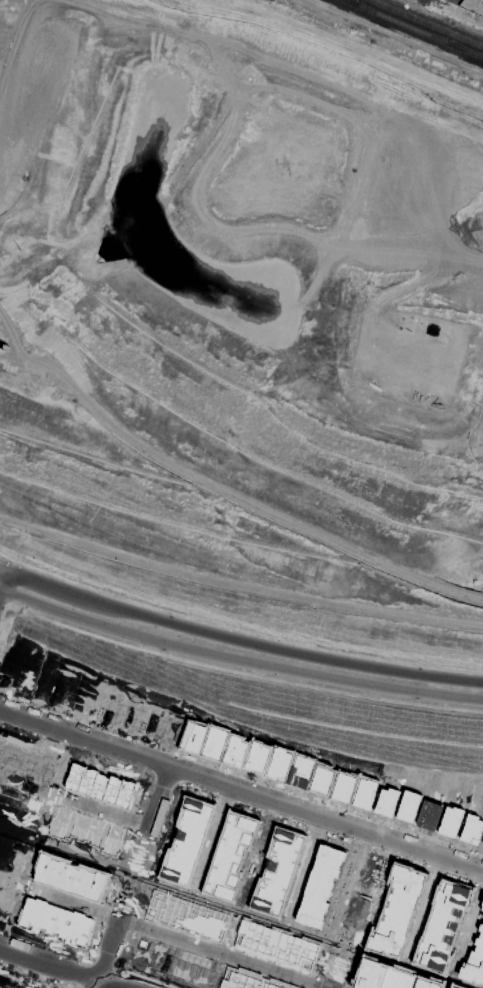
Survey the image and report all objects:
railway: (397, 21)
railway: (427, 23)
railway: (466, 49)
railway: (466, 50)
road: (354, 125)
road: (206, 165)
road: (21, 353)
road: (231, 495)
road: (2, 574)
road: (17, 584)
road: (249, 586)
road: (65, 598)
road: (4, 614)
road: (240, 638)
road: (238, 657)
road: (243, 672)
building: (22, 677)
building: (45, 685)
building: (66, 693)
building: (87, 699)
building: (108, 706)
building: (128, 715)
building: (150, 720)
building: (171, 728)
building: (193, 736)
building: (215, 742)
road: (74, 749)
building: (234, 750)
building: (256, 756)
road: (154, 759)
building: (25, 761)
building: (278, 763)
road: (184, 770)
road: (186, 771)
building: (300, 771)
road: (241, 773)
road: (165, 776)
building: (321, 778)
road: (20, 782)
road: (54, 785)
building: (99, 785)
building: (343, 787)
building: (364, 793)
road: (159, 795)
building: (386, 801)
building: (407, 805)
building: (19, 807)
road: (106, 810)
building: (428, 814)
road: (135, 819)
building: (450, 821)
road: (165, 822)
road: (18, 829)
road: (148, 829)
building: (471, 829)
building: (85, 830)
road: (38, 834)
road: (212, 834)
road: (330, 835)
building: (186, 842)
road: (127, 844)
road: (428, 850)
road: (80, 851)
road: (140, 851)
road: (257, 853)
building: (12, 854)
building: (229, 855)
road: (303, 865)
park: (133, 871)
building: (277, 871)
building: (69, 877)
road: (6, 878)
building: (319, 885)
road: (125, 897)
building: (4, 901)
road: (75, 902)
road: (424, 904)
building: (481, 909)
park: (354, 911)
building: (396, 911)
road: (118, 912)
building: (185, 915)
building: (54, 921)
building: (441, 925)
road: (98, 927)
road: (467, 928)
road: (128, 930)
road: (346, 932)
road: (44, 943)
building: (276, 946)
road: (106, 949)
road: (220, 952)
road: (88, 959)
building: (170, 961)
building: (473, 961)
road: (48, 964)
road: (337, 965)
road: (318, 970)
road: (34, 975)
road: (112, 977)
road: (146, 977)
building: (387, 977)
building: (248, 979)
building: (19, 981)
road: (330, 984)
road: (94, 985)
road: (104, 985)
building: (57, 987)

